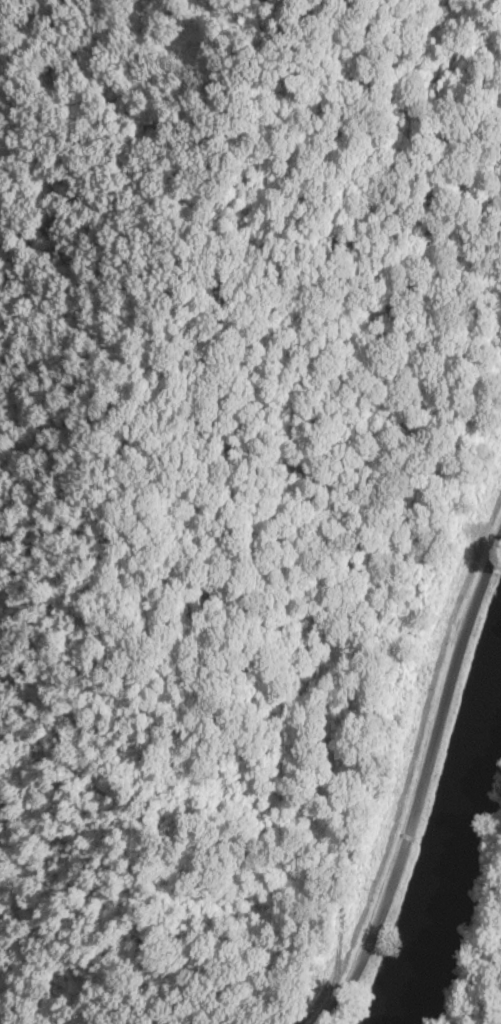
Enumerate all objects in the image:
road: (421, 785)
river: (449, 860)

